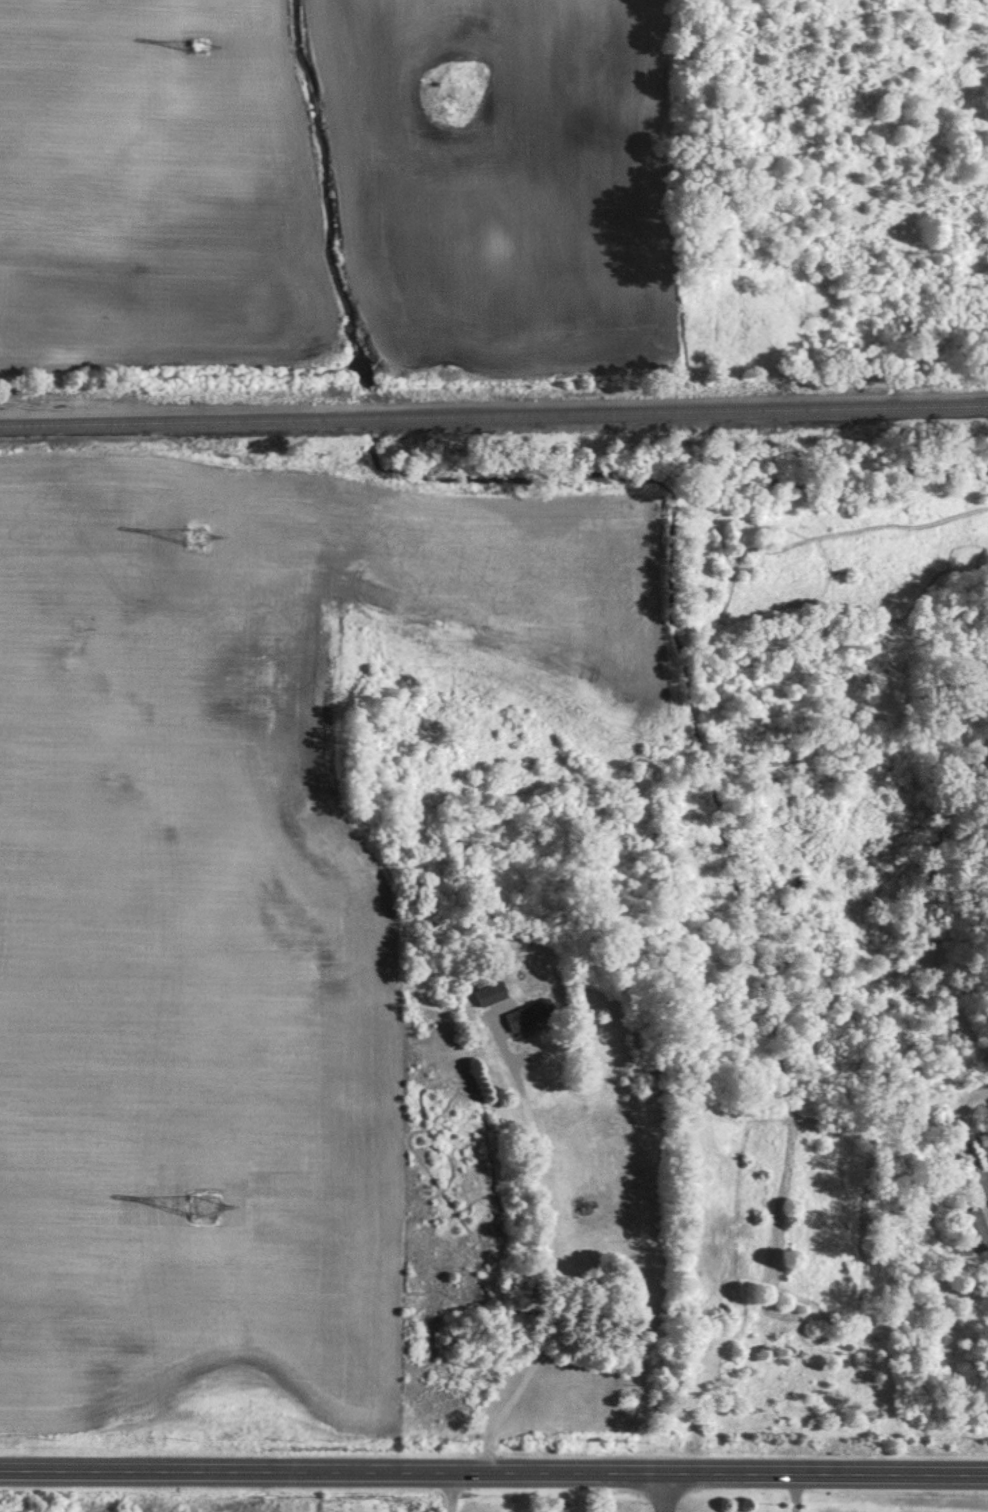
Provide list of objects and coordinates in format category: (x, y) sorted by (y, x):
power tower: (193, 43)
railway: (493, 412)
power tower: (195, 536)
building: (490, 992)
building: (529, 1014)
road: (968, 1085)
building: (985, 1152)
park: (795, 1203)
power tower: (203, 1207)
building: (975, 1228)
road: (545, 1242)
road: (494, 1471)
road: (450, 1491)
road: (665, 1491)
road: (793, 1492)

